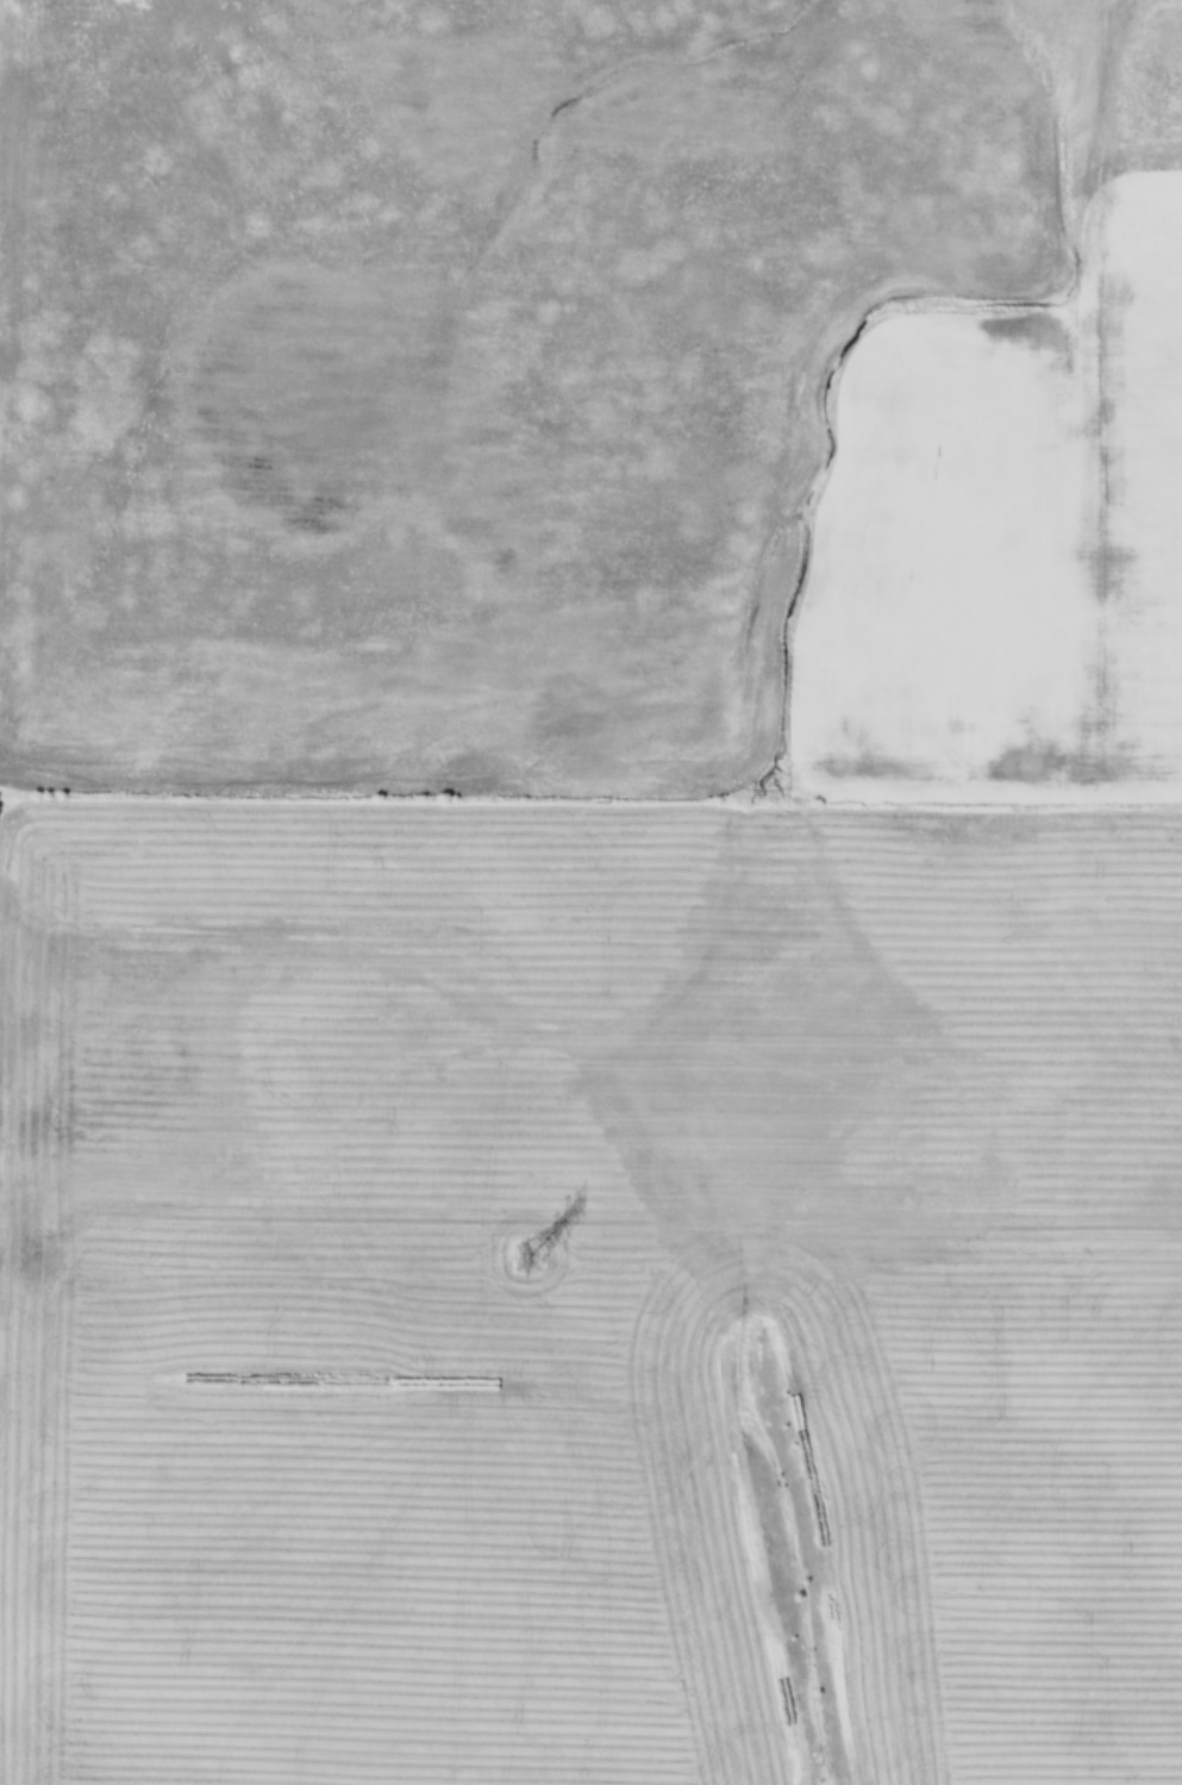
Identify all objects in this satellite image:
power tower: (533, 1259)

